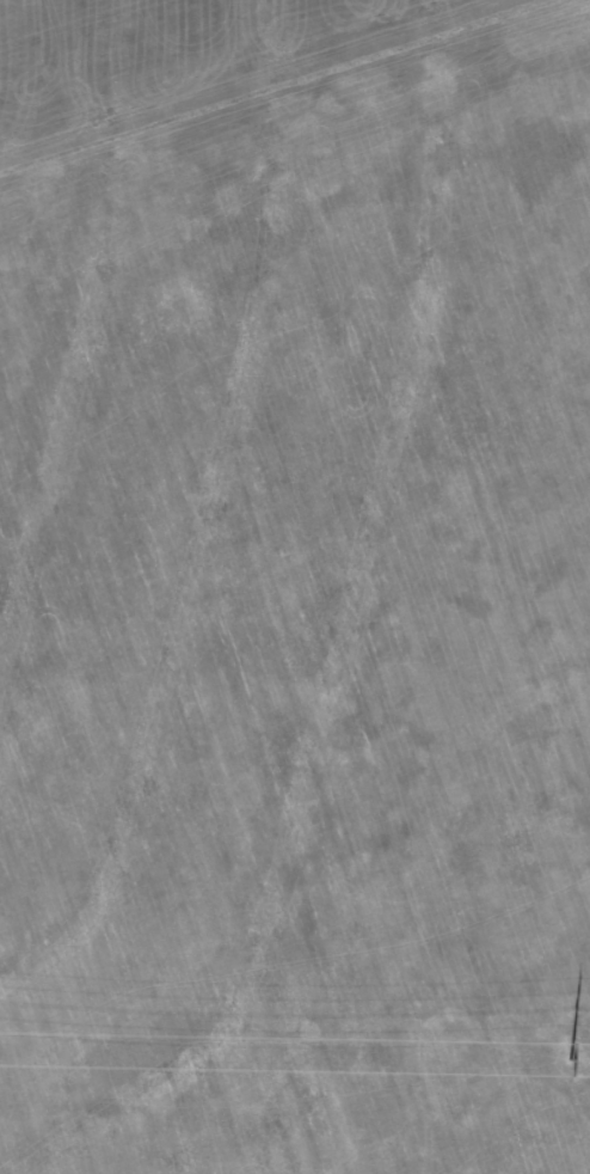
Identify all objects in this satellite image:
power tower: (571, 1059)

